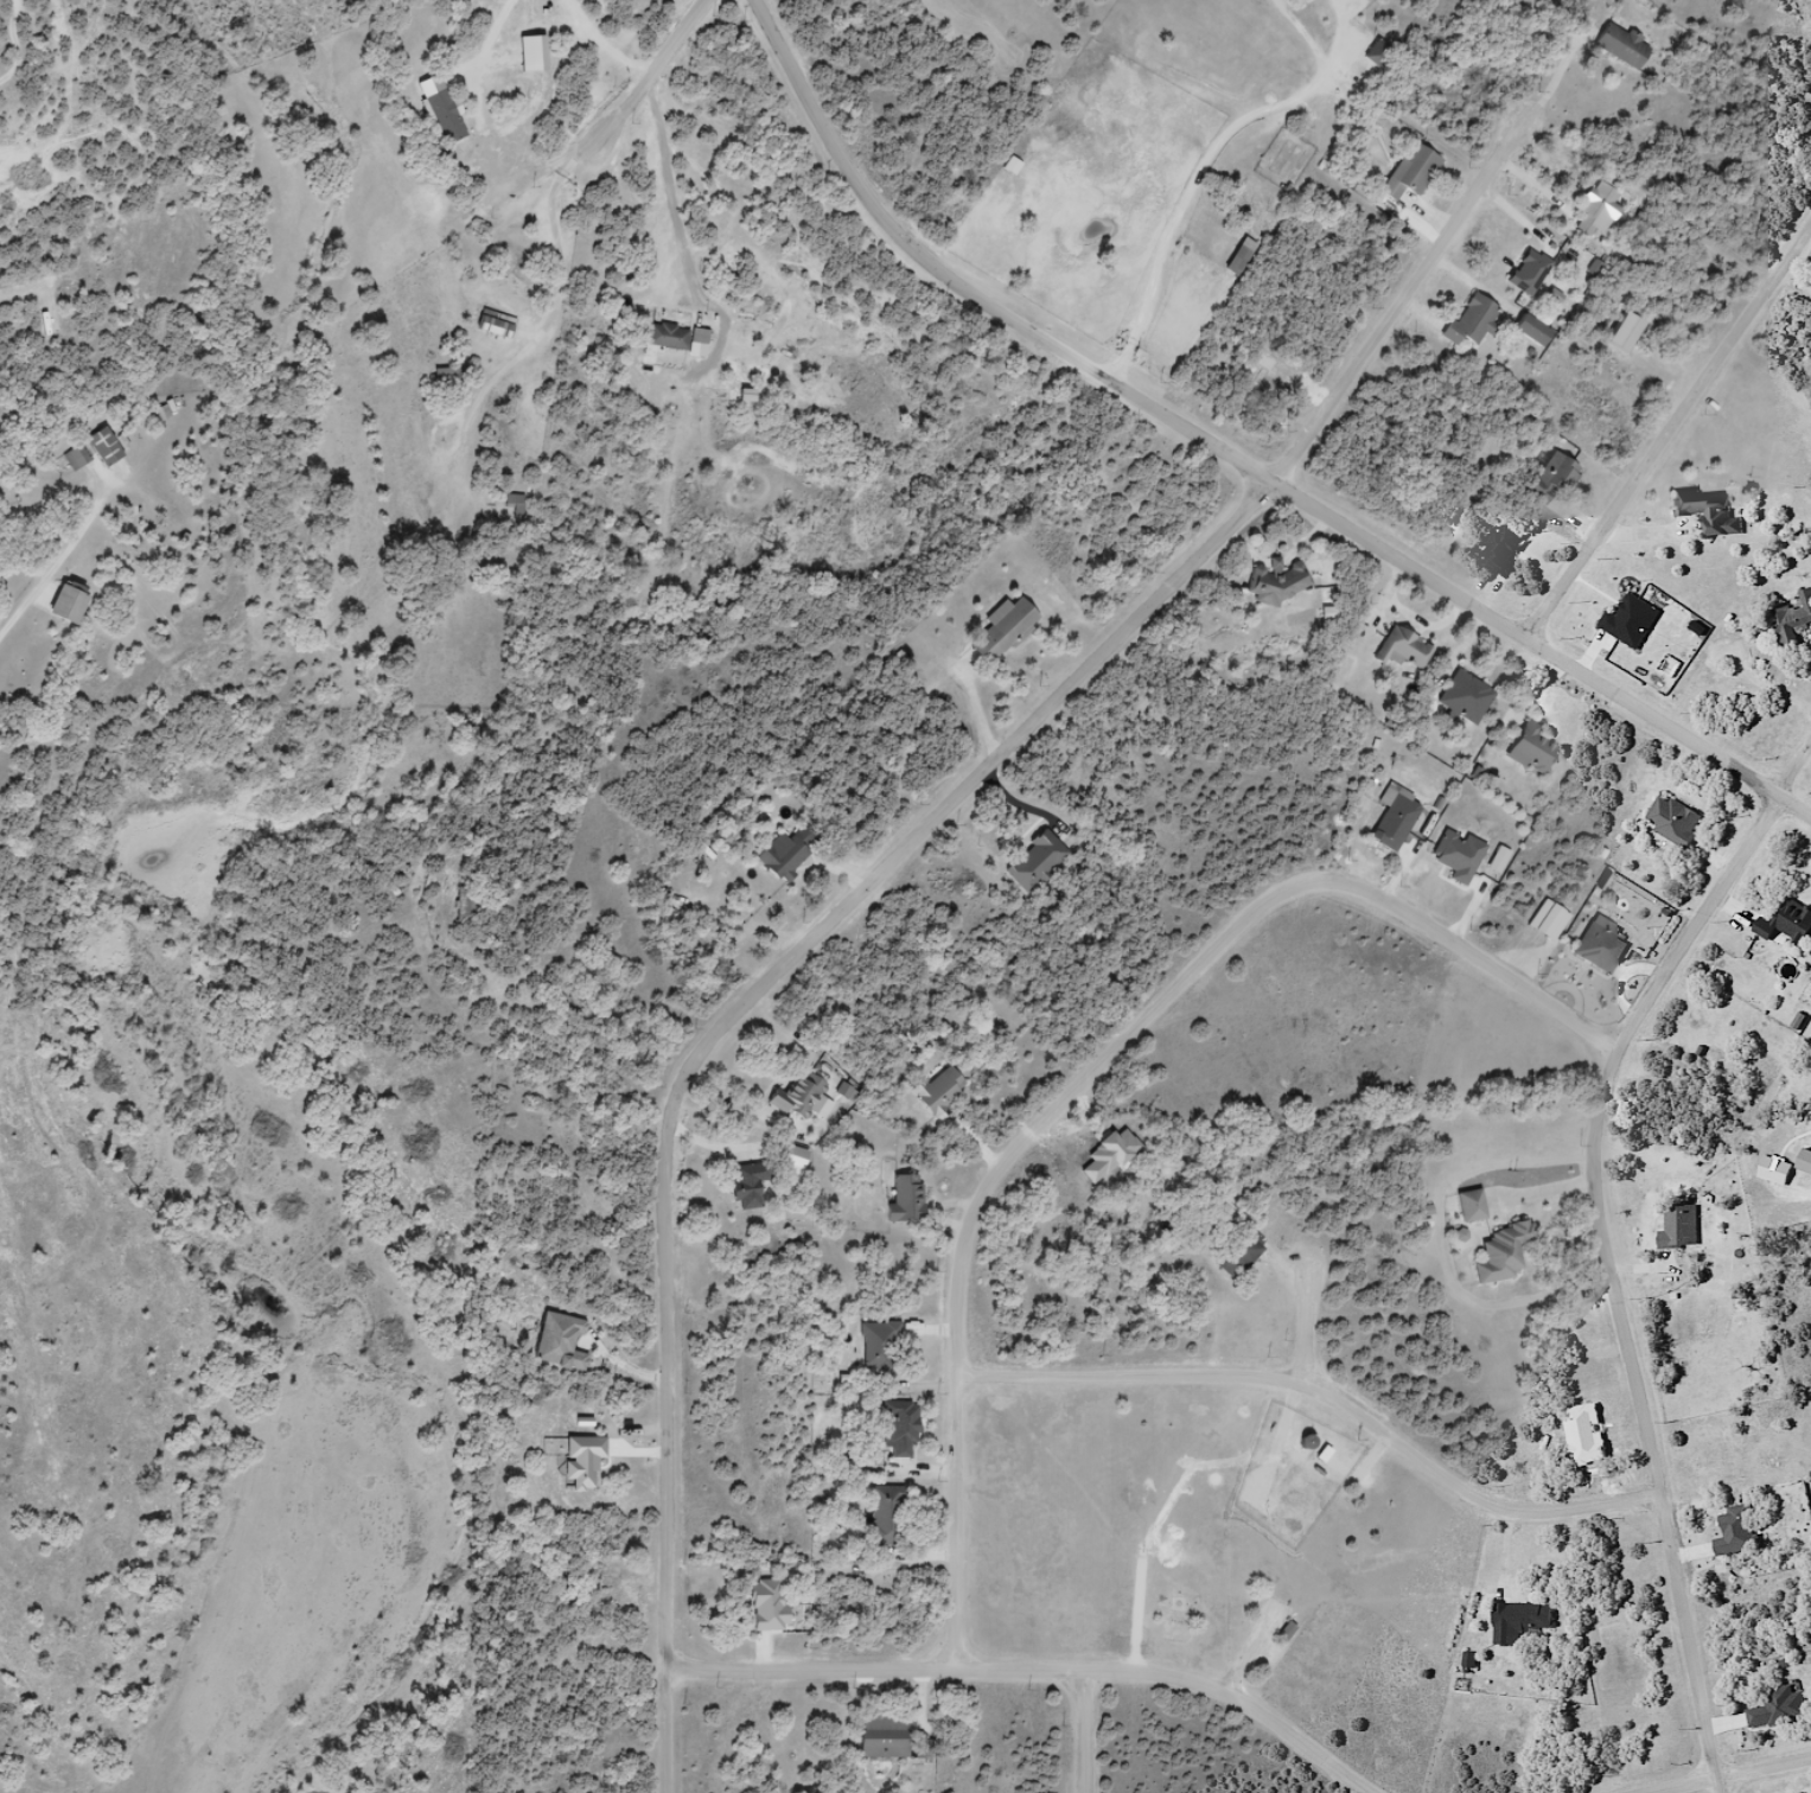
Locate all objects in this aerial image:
building: (1619, 45)
building: (1373, 53)
building: (518, 57)
road: (663, 66)
building: (1409, 173)
building: (1593, 208)
building: (1236, 261)
building: (1526, 273)
road: (1405, 299)
building: (1469, 323)
building: (491, 325)
building: (1529, 331)
building: (672, 338)
building: (444, 378)
building: (159, 414)
road: (1671, 438)
building: (101, 448)
building: (75, 458)
road: (1227, 467)
building: (1550, 479)
building: (512, 505)
building: (1705, 512)
building: (1499, 548)
building: (1274, 583)
building: (63, 605)
building: (1792, 618)
building: (1000, 631)
building: (1399, 650)
building: (1464, 698)
building: (1528, 749)
building: (1670, 821)
building: (784, 854)
building: (464, 912)
building: (1785, 921)
building: (1598, 949)
road: (759, 989)
road: (1083, 1072)
building: (936, 1093)
building: (797, 1099)
building: (746, 1186)
building: (904, 1201)
building: (1468, 1207)
building: (1675, 1226)
road: (1605, 1232)
building: (1499, 1255)
building: (1236, 1257)
building: (556, 1342)
road: (1325, 1389)
road: (1386, 1393)
building: (897, 1429)
building: (884, 1517)
building: (765, 1606)
building: (1520, 1615)
building: (1284, 1633)
road: (1027, 1672)
building: (1775, 1709)
road: (658, 1729)
road: (1088, 1734)
building: (880, 1737)
road: (1729, 1774)
road: (1723, 1785)

